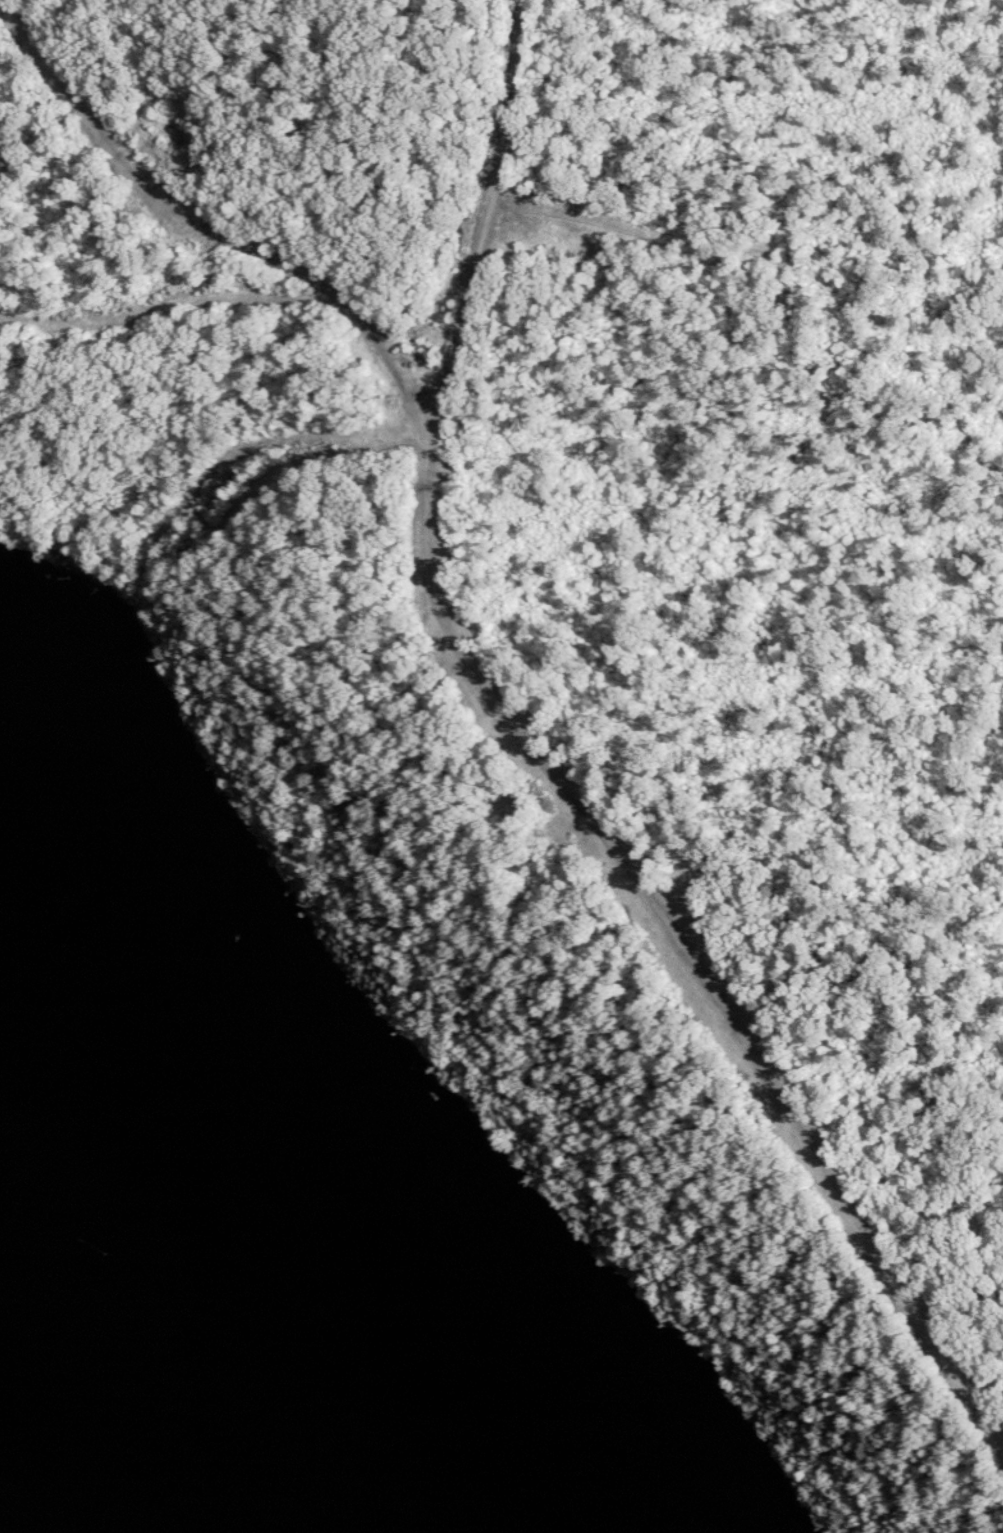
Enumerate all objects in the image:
road: (487, 230)
road: (485, 687)
river: (262, 1259)

